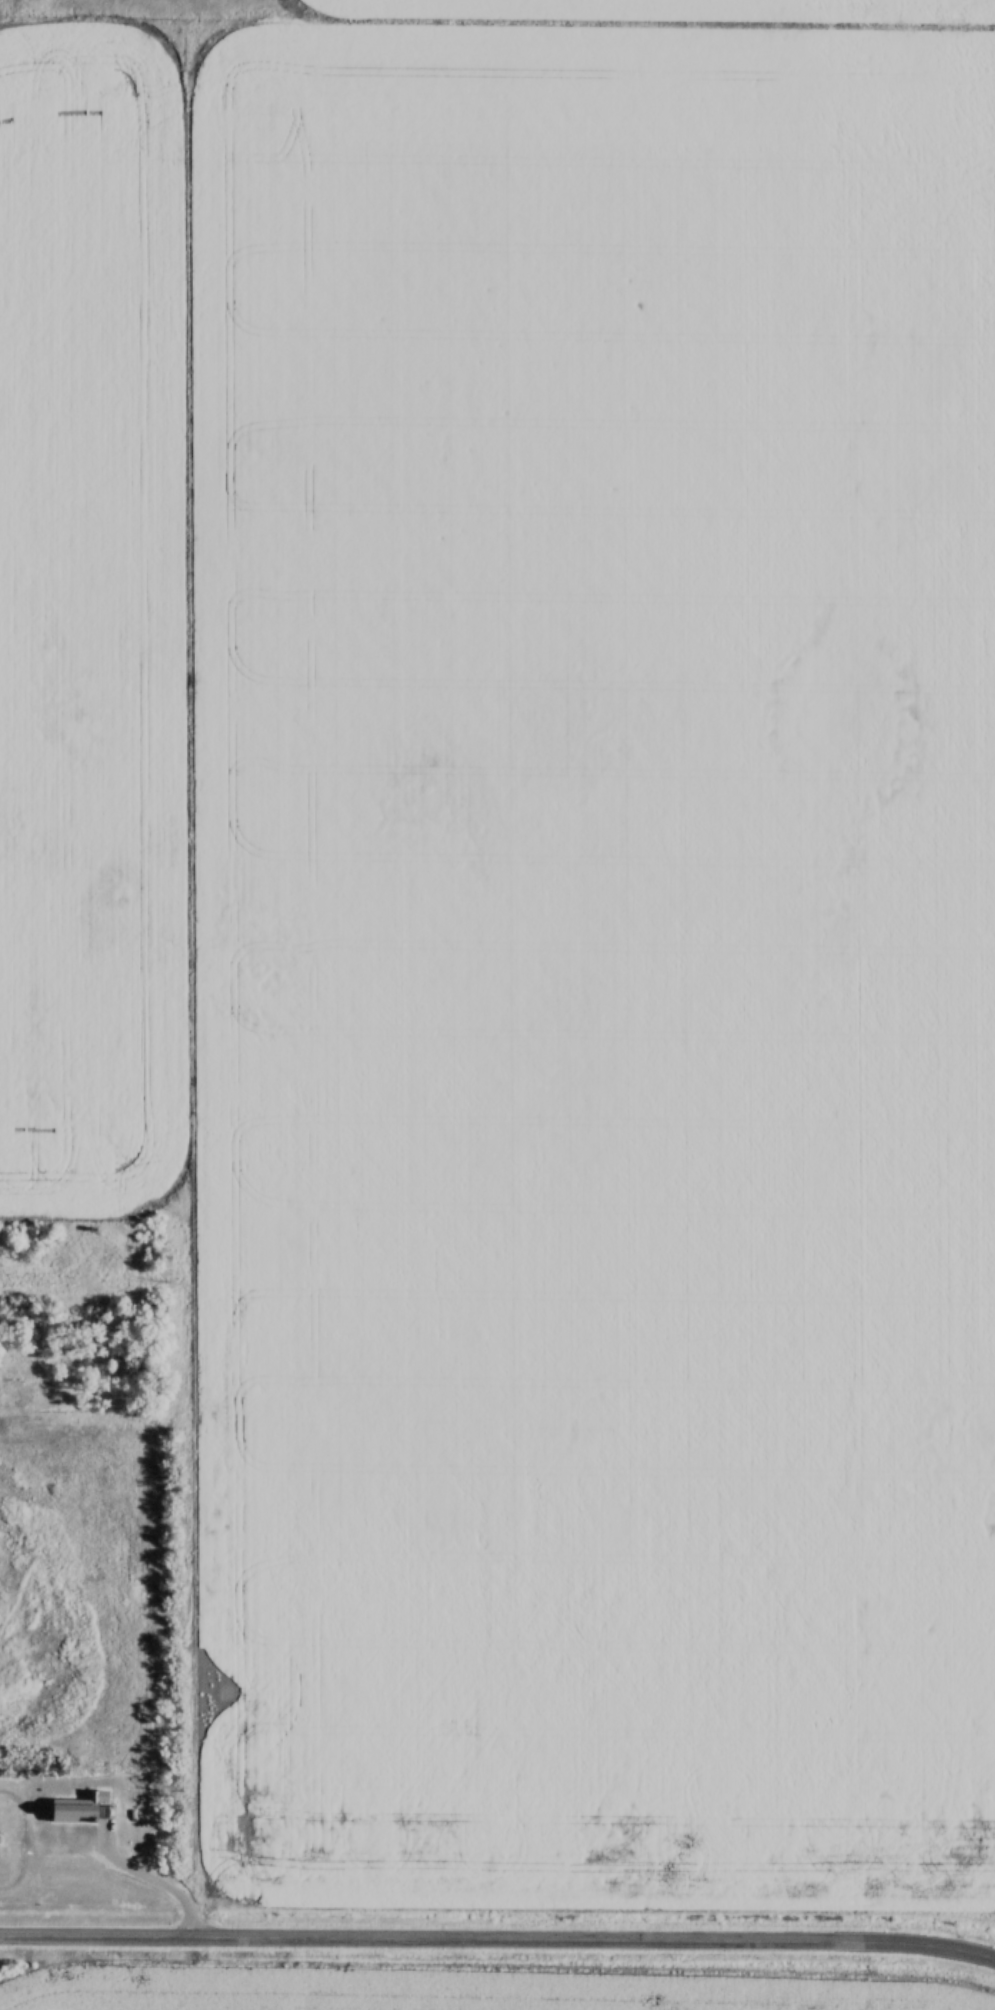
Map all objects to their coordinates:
road: (498, 1931)

